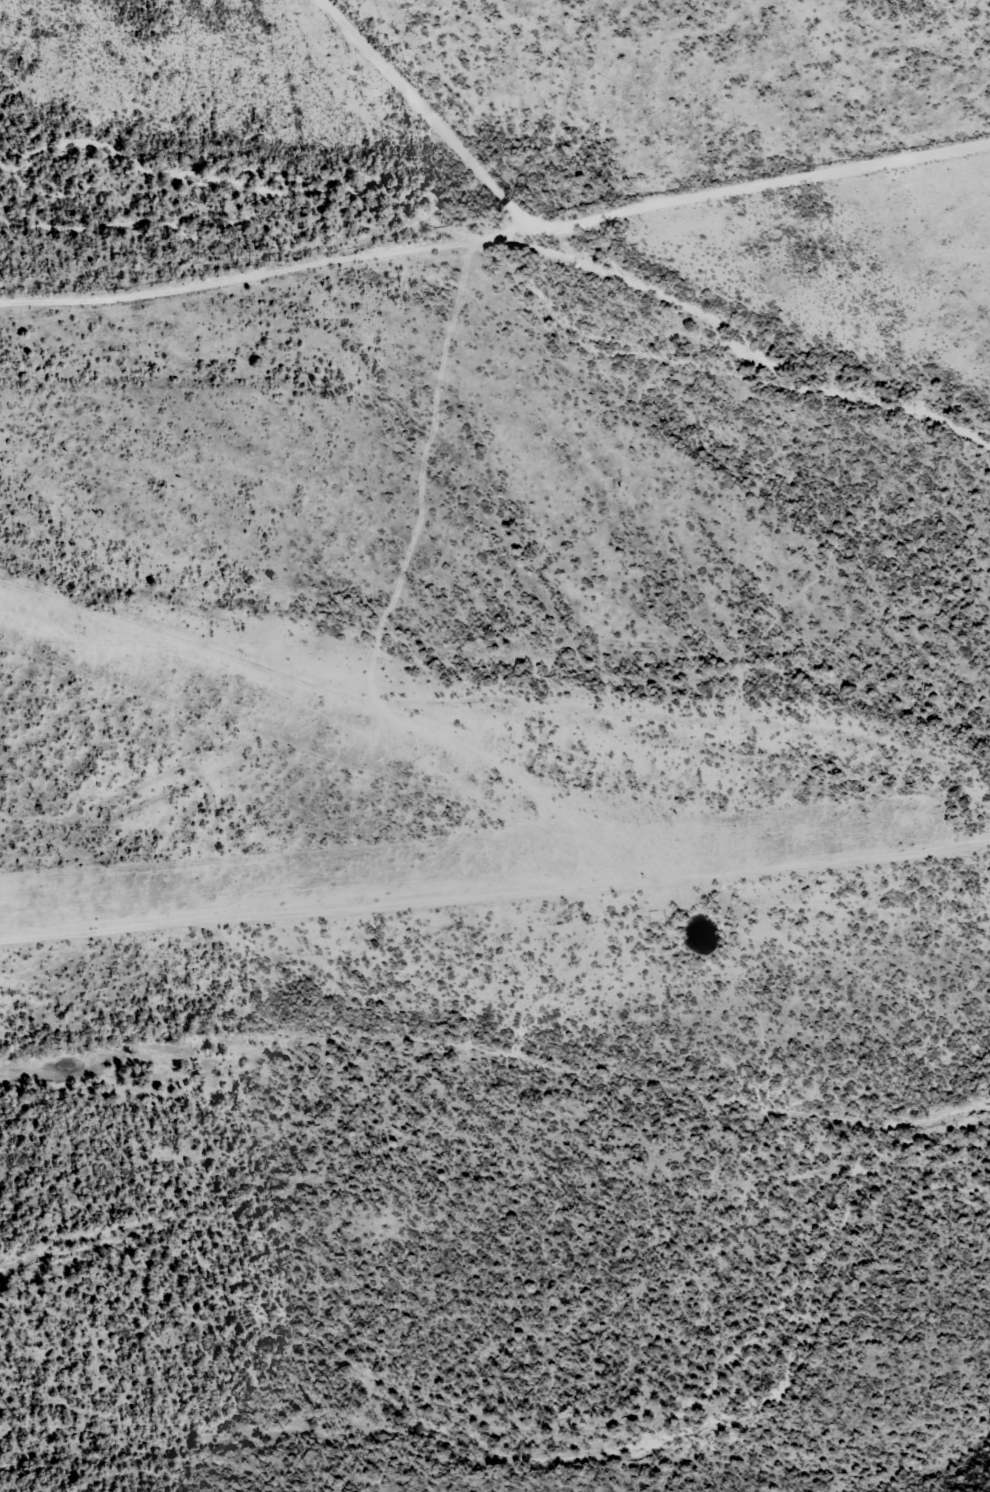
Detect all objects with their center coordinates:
road: (598, 229)
airport runway: (326, 738)
airport runway: (459, 874)
road: (494, 909)

